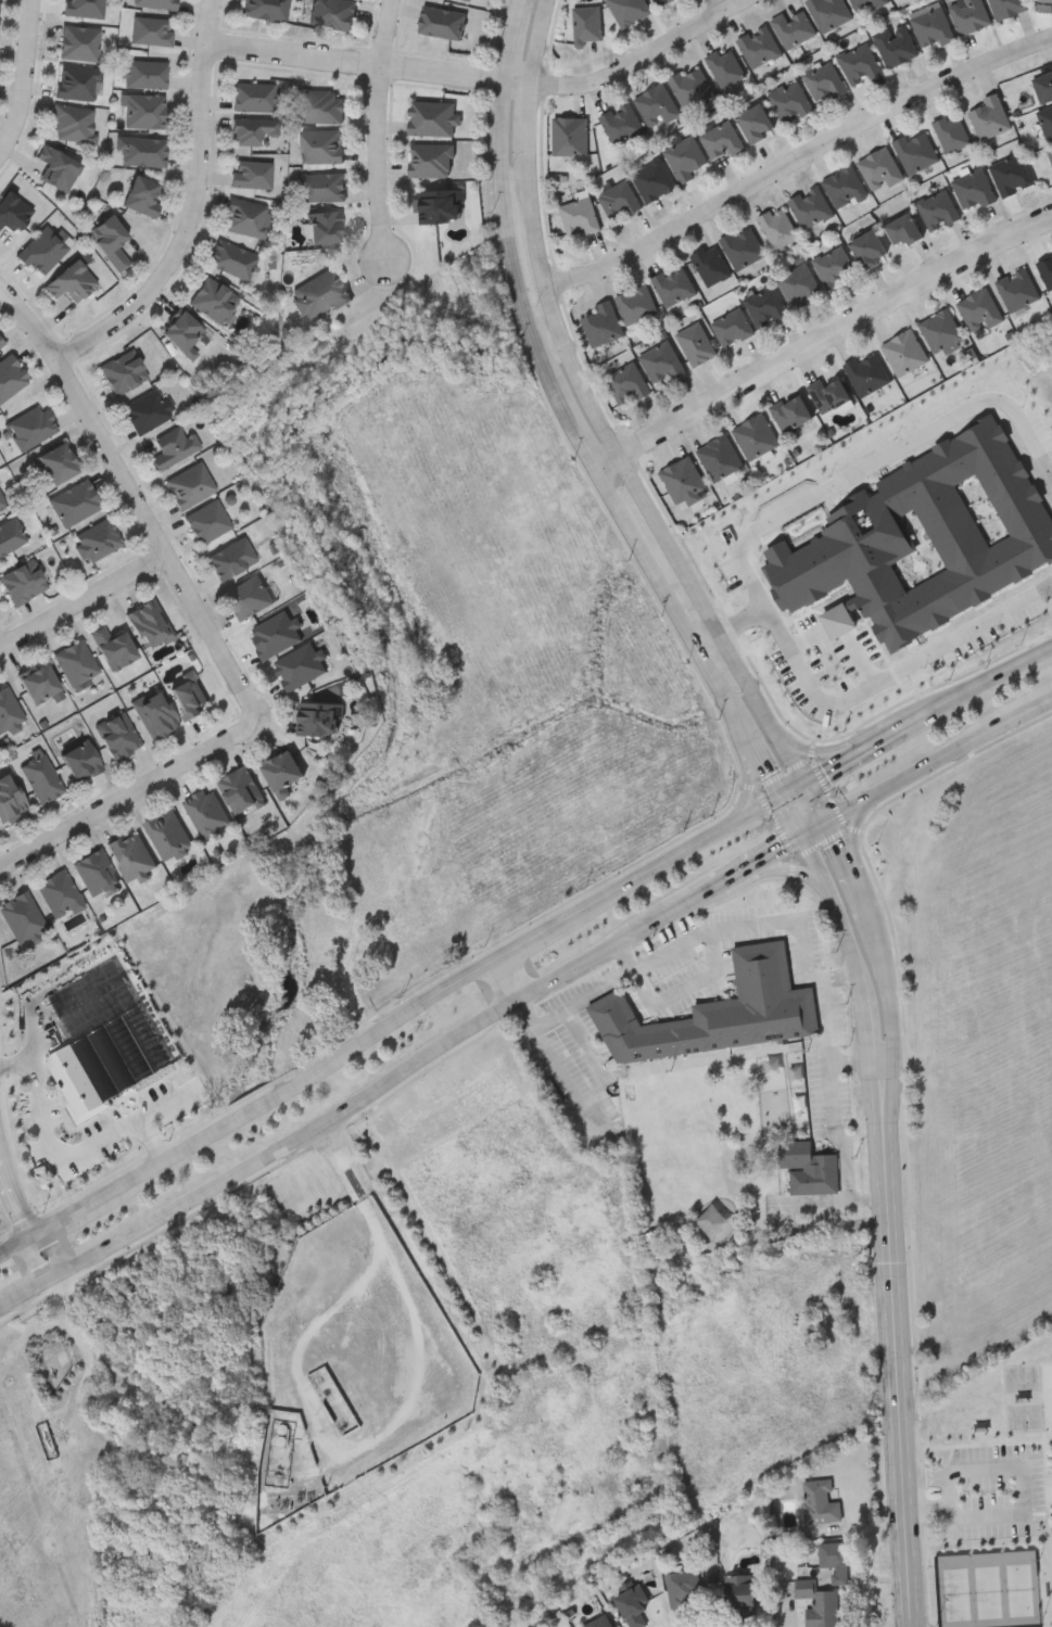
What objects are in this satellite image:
building: (468, 0)
building: (1045, 0)
building: (660, 1)
building: (867, 4)
road: (720, 5)
building: (1007, 7)
building: (83, 9)
building: (263, 10)
building: (630, 10)
building: (831, 12)
building: (331, 13)
building: (969, 14)
building: (440, 22)
building: (588, 24)
building: (931, 25)
building: (795, 27)
building: (150, 31)
road: (385, 33)
road: (537, 42)
building: (78, 43)
building: (896, 43)
building: (761, 46)
road: (643, 56)
building: (860, 63)
road: (369, 65)
building: (727, 65)
building: (144, 75)
building: (825, 81)
road: (25, 82)
building: (77, 82)
building: (693, 86)
building: (1043, 86)
building: (252, 98)
building: (791, 102)
building: (658, 105)
building: (319, 106)
building: (144, 112)
building: (990, 116)
building: (429, 118)
building: (1047, 120)
building: (622, 123)
building: (756, 123)
building: (72, 124)
road: (527, 127)
building: (251, 131)
building: (952, 132)
building: (570, 136)
building: (723, 139)
building: (318, 147)
building: (1051, 151)
building: (141, 152)
building: (916, 152)
building: (1051, 154)
road: (795, 155)
building: (686, 157)
building: (429, 161)
road: (378, 166)
building: (882, 167)
building: (55, 169)
building: (1012, 174)
building: (249, 175)
building: (654, 179)
building: (846, 186)
building: (320, 187)
building: (974, 189)
building: (139, 196)
building: (619, 200)
building: (811, 205)
building: (436, 206)
building: (938, 208)
road: (193, 211)
building: (12, 212)
building: (579, 216)
building: (243, 218)
building: (777, 226)
building: (321, 228)
building: (903, 228)
road: (512, 240)
building: (106, 242)
building: (744, 246)
building: (869, 246)
building: (41, 250)
building: (230, 259)
building: (711, 264)
building: (834, 265)
building: (1047, 269)
building: (68, 281)
building: (673, 283)
building: (800, 284)
building: (1018, 289)
building: (317, 294)
building: (211, 300)
building: (636, 303)
building: (766, 305)
building: (979, 309)
road: (555, 317)
building: (601, 323)
building: (732, 326)
road: (833, 329)
building: (178, 331)
building: (942, 331)
building: (696, 342)
building: (0, 344)
building: (905, 351)
building: (661, 360)
building: (121, 372)
building: (867, 372)
building: (10, 377)
building: (626, 382)
building: (828, 393)
building: (145, 411)
building: (791, 411)
building: (28, 427)
building: (756, 435)
building: (172, 447)
building: (719, 457)
building: (1044, 459)
road: (606, 460)
building: (58, 463)
road: (854, 476)
building: (683, 483)
building: (188, 486)
road: (136, 501)
building: (73, 503)
building: (2, 504)
building: (1011, 512)
building: (205, 522)
building: (10, 535)
building: (94, 541)
building: (228, 559)
building: (1034, 560)
building: (22, 581)
building: (246, 596)
road: (83, 601)
road: (712, 615)
building: (147, 624)
building: (272, 635)
building: (110, 647)
building: (74, 663)
building: (297, 665)
road: (892, 674)
building: (35, 683)
building: (186, 694)
building: (8, 710)
building: (152, 713)
road: (929, 713)
building: (317, 717)
building: (115, 735)
road: (820, 750)
road: (758, 753)
road: (940, 760)
building: (77, 761)
building: (279, 772)
road: (748, 773)
building: (40, 778)
traffic signals: (808, 778)
building: (239, 790)
traffic signals: (781, 793)
road: (130, 795)
road: (819, 798)
building: (10, 799)
building: (204, 812)
traffic signals: (831, 818)
road: (855, 831)
building: (166, 834)
traffic signals: (803, 834)
road: (841, 842)
building: (129, 854)
road: (786, 870)
building: (92, 872)
road: (861, 887)
building: (56, 894)
building: (18, 917)
road: (674, 950)
road: (625, 958)
road: (507, 977)
road: (839, 977)
road: (685, 990)
road: (889, 996)
building: (718, 1012)
road: (403, 1017)
road: (826, 1022)
road: (886, 1058)
road: (857, 1063)
road: (415, 1064)
road: (664, 1066)
road: (885, 1075)
road: (566, 1084)
building: (686, 1119)
road: (838, 1133)
road: (63, 1153)
building: (809, 1167)
park: (9, 1215)
road: (23, 1217)
road: (789, 1219)
building: (655, 1247)
road: (902, 1358)
road: (930, 1477)
road: (951, 1491)
road: (1025, 1495)
park: (989, 1499)
building: (821, 1500)
road: (931, 1507)
building: (836, 1558)
building: (740, 1593)
building: (820, 1603)
building: (631, 1609)
building: (597, 1623)

